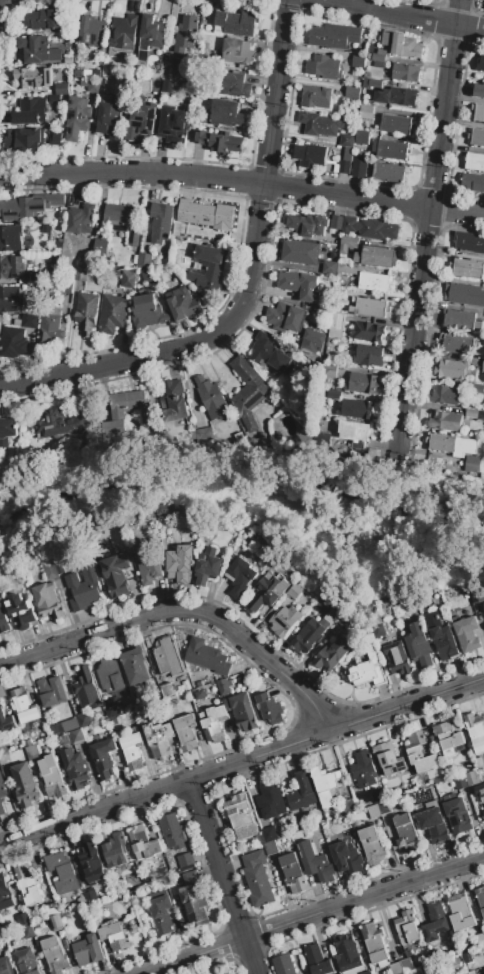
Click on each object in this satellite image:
road: (407, 15)
building: (42, 20)
building: (237, 23)
building: (91, 30)
building: (152, 33)
building: (186, 35)
building: (334, 36)
building: (123, 37)
building: (385, 39)
building: (406, 46)
building: (37, 50)
building: (239, 52)
building: (382, 53)
building: (378, 58)
building: (68, 60)
building: (143, 61)
building: (358, 61)
building: (379, 64)
building: (480, 64)
building: (170, 67)
building: (324, 68)
building: (96, 73)
building: (406, 73)
building: (78, 74)
building: (34, 78)
building: (83, 83)
building: (180, 83)
building: (374, 84)
building: (94, 86)
building: (234, 86)
building: (166, 87)
building: (61, 89)
building: (479, 91)
building: (353, 92)
building: (316, 97)
building: (397, 97)
building: (54, 99)
building: (366, 109)
building: (30, 112)
building: (478, 113)
building: (226, 114)
building: (365, 116)
building: (77, 118)
building: (201, 118)
building: (141, 121)
building: (110, 122)
building: (319, 124)
building: (397, 124)
building: (173, 125)
building: (56, 136)
building: (362, 137)
building: (476, 138)
building: (24, 140)
building: (333, 140)
building: (347, 141)
building: (218, 142)
building: (392, 150)
building: (348, 154)
building: (310, 156)
building: (474, 162)
building: (344, 167)
building: (359, 167)
building: (389, 173)
road: (242, 183)
building: (473, 183)
building: (29, 206)
building: (205, 216)
building: (81, 220)
building: (124, 222)
road: (428, 222)
building: (161, 223)
building: (344, 224)
building: (307, 225)
building: (46, 228)
building: (378, 231)
building: (11, 238)
building: (26, 239)
building: (469, 242)
building: (348, 244)
building: (101, 247)
building: (300, 252)
building: (375, 256)
building: (144, 260)
building: (12, 267)
building: (207, 267)
building: (329, 268)
building: (467, 269)
building: (84, 275)
building: (147, 276)
building: (34, 277)
building: (128, 279)
building: (375, 282)
road: (249, 283)
building: (301, 286)
building: (65, 287)
building: (464, 295)
building: (10, 299)
building: (183, 304)
building: (369, 308)
building: (145, 312)
building: (87, 313)
building: (113, 313)
building: (285, 318)
building: (349, 320)
building: (29, 321)
building: (461, 321)
building: (51, 326)
building: (337, 326)
building: (367, 332)
building: (314, 337)
building: (13, 343)
building: (457, 345)
building: (271, 355)
building: (368, 356)
building: (483, 367)
building: (452, 370)
building: (331, 371)
building: (363, 384)
building: (477, 389)
building: (248, 392)
building: (335, 395)
building: (445, 396)
building: (212, 400)
building: (175, 401)
building: (358, 409)
building: (475, 415)
building: (118, 417)
building: (447, 422)
building: (61, 424)
building: (7, 431)
building: (354, 431)
building: (261, 435)
building: (198, 436)
building: (254, 441)
building: (304, 443)
building: (453, 445)
building: (374, 456)
building: (473, 464)
building: (265, 543)
building: (148, 561)
building: (210, 563)
building: (181, 564)
building: (59, 565)
building: (50, 569)
building: (116, 575)
building: (241, 578)
building: (84, 590)
building: (268, 591)
building: (295, 592)
building: (477, 598)
building: (48, 601)
building: (324, 602)
building: (483, 604)
building: (21, 610)
road: (183, 611)
building: (331, 616)
building: (4, 620)
building: (284, 621)
building: (375, 621)
building: (346, 622)
building: (378, 631)
building: (466, 633)
building: (309, 636)
building: (442, 637)
building: (419, 645)
building: (333, 654)
building: (168, 657)
building: (207, 657)
building: (398, 659)
building: (135, 666)
building: (367, 671)
building: (110, 675)
building: (200, 684)
building: (186, 686)
building: (224, 687)
building: (86, 689)
building: (51, 691)
building: (167, 691)
building: (199, 694)
building: (103, 695)
road: (405, 705)
building: (25, 706)
building: (111, 708)
building: (269, 709)
building: (244, 712)
building: (84, 721)
building: (6, 722)
building: (113, 722)
building: (213, 724)
building: (64, 727)
building: (475, 732)
building: (186, 733)
building: (77, 736)
building: (448, 736)
building: (159, 740)
building: (3, 751)
building: (132, 751)
building: (31, 752)
building: (420, 754)
building: (104, 758)
building: (389, 759)
building: (479, 763)
building: (75, 769)
building: (364, 770)
building: (52, 778)
building: (471, 778)
building: (460, 782)
building: (326, 784)
building: (24, 785)
road: (163, 788)
building: (2, 789)
building: (302, 793)
building: (480, 793)
building: (378, 796)
building: (271, 800)
building: (348, 807)
building: (384, 807)
building: (1, 809)
building: (374, 812)
building: (483, 813)
building: (240, 815)
building: (458, 816)
building: (433, 822)
building: (172, 832)
building: (269, 834)
building: (407, 834)
building: (260, 840)
building: (144, 843)
building: (372, 846)
building: (270, 848)
building: (116, 851)
building: (347, 858)
building: (185, 860)
building: (91, 863)
building: (316, 864)
building: (62, 872)
building: (293, 874)
road: (222, 876)
building: (257, 879)
building: (27, 885)
building: (133, 892)
building: (5, 895)
building: (90, 897)
building: (480, 899)
building: (194, 900)
building: (81, 902)
building: (51, 910)
building: (461, 913)
building: (162, 915)
road: (312, 915)
building: (22, 920)
building: (46, 923)
building: (55, 923)
building: (435, 923)
building: (407, 929)
building: (27, 931)
building: (62, 934)
building: (114, 937)
building: (479, 940)
building: (374, 943)
building: (88, 951)
building: (54, 955)
building: (348, 955)
building: (467, 958)
building: (317, 961)
building: (26, 962)
building: (283, 964)
building: (406, 965)
building: (6, 966)
building: (395, 968)
building: (428, 968)
building: (483, 972)
building: (367, 973)
building: (402, 973)

